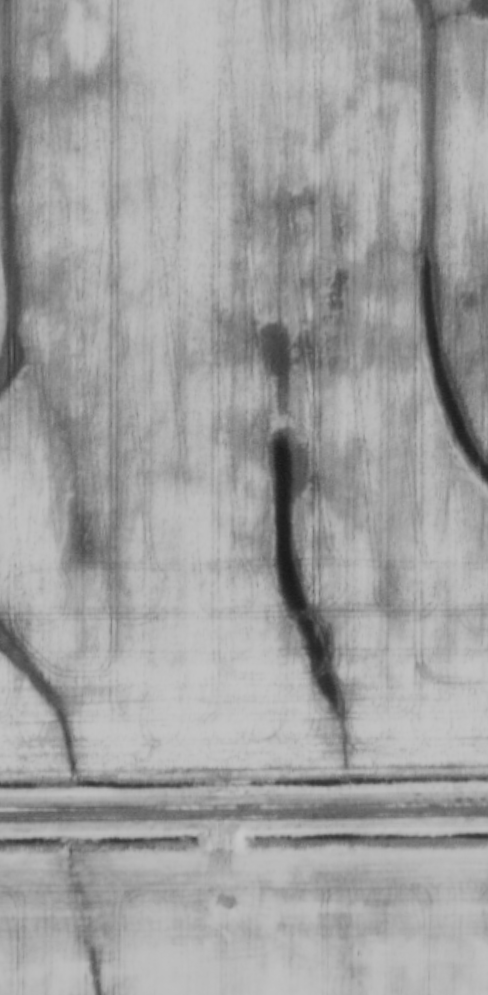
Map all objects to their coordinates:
road: (244, 815)

